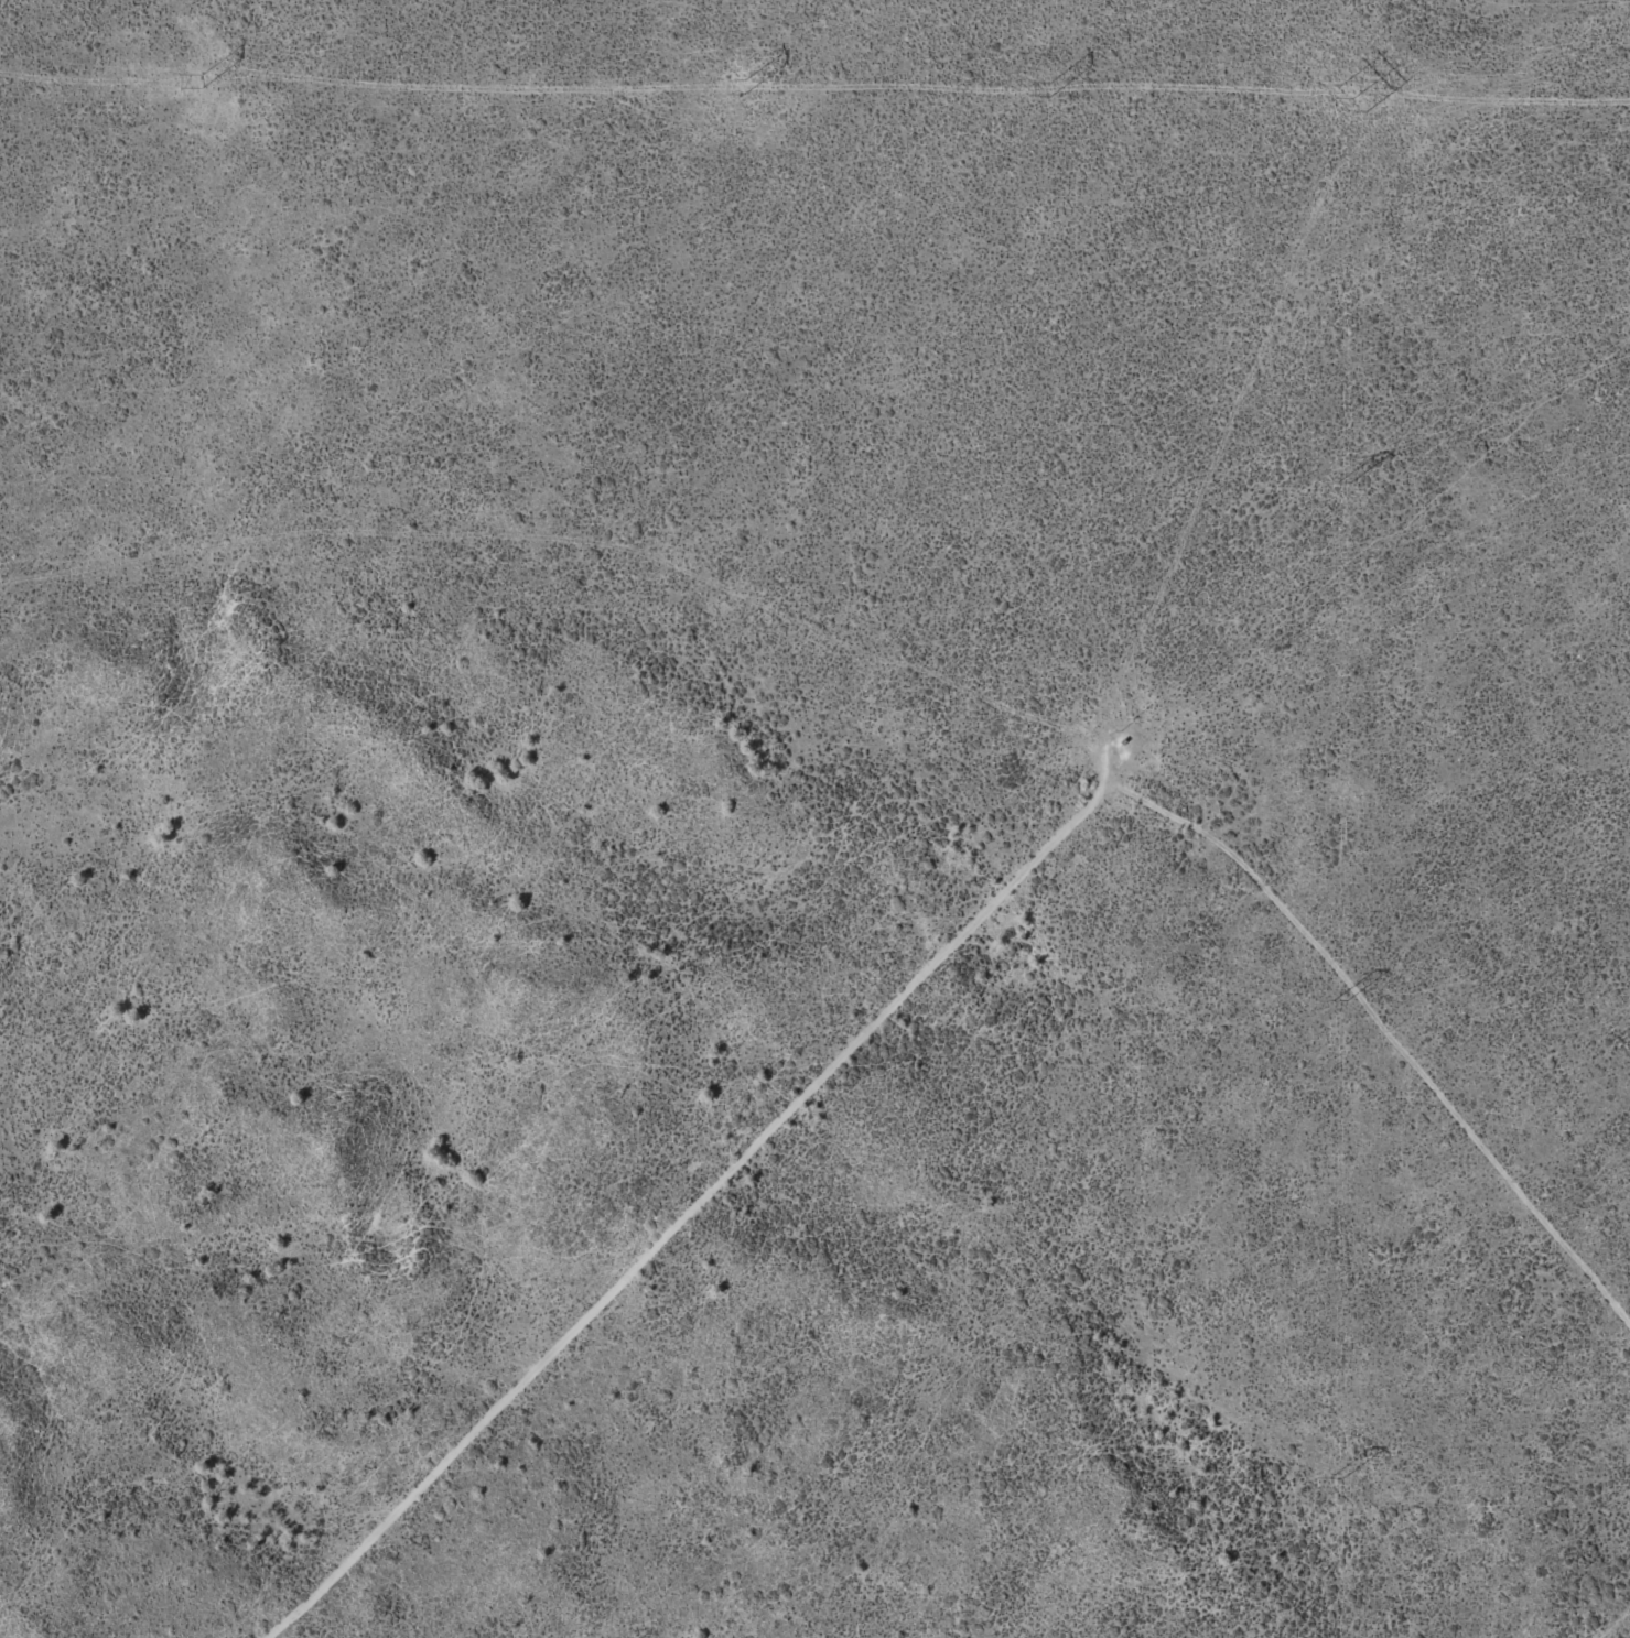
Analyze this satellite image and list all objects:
power tower: (201, 78)
power tower: (744, 87)
power tower: (1048, 87)
power tower: (1353, 97)
power tower: (1342, 480)
power tower: (1339, 1000)
power tower: (1335, 1476)

